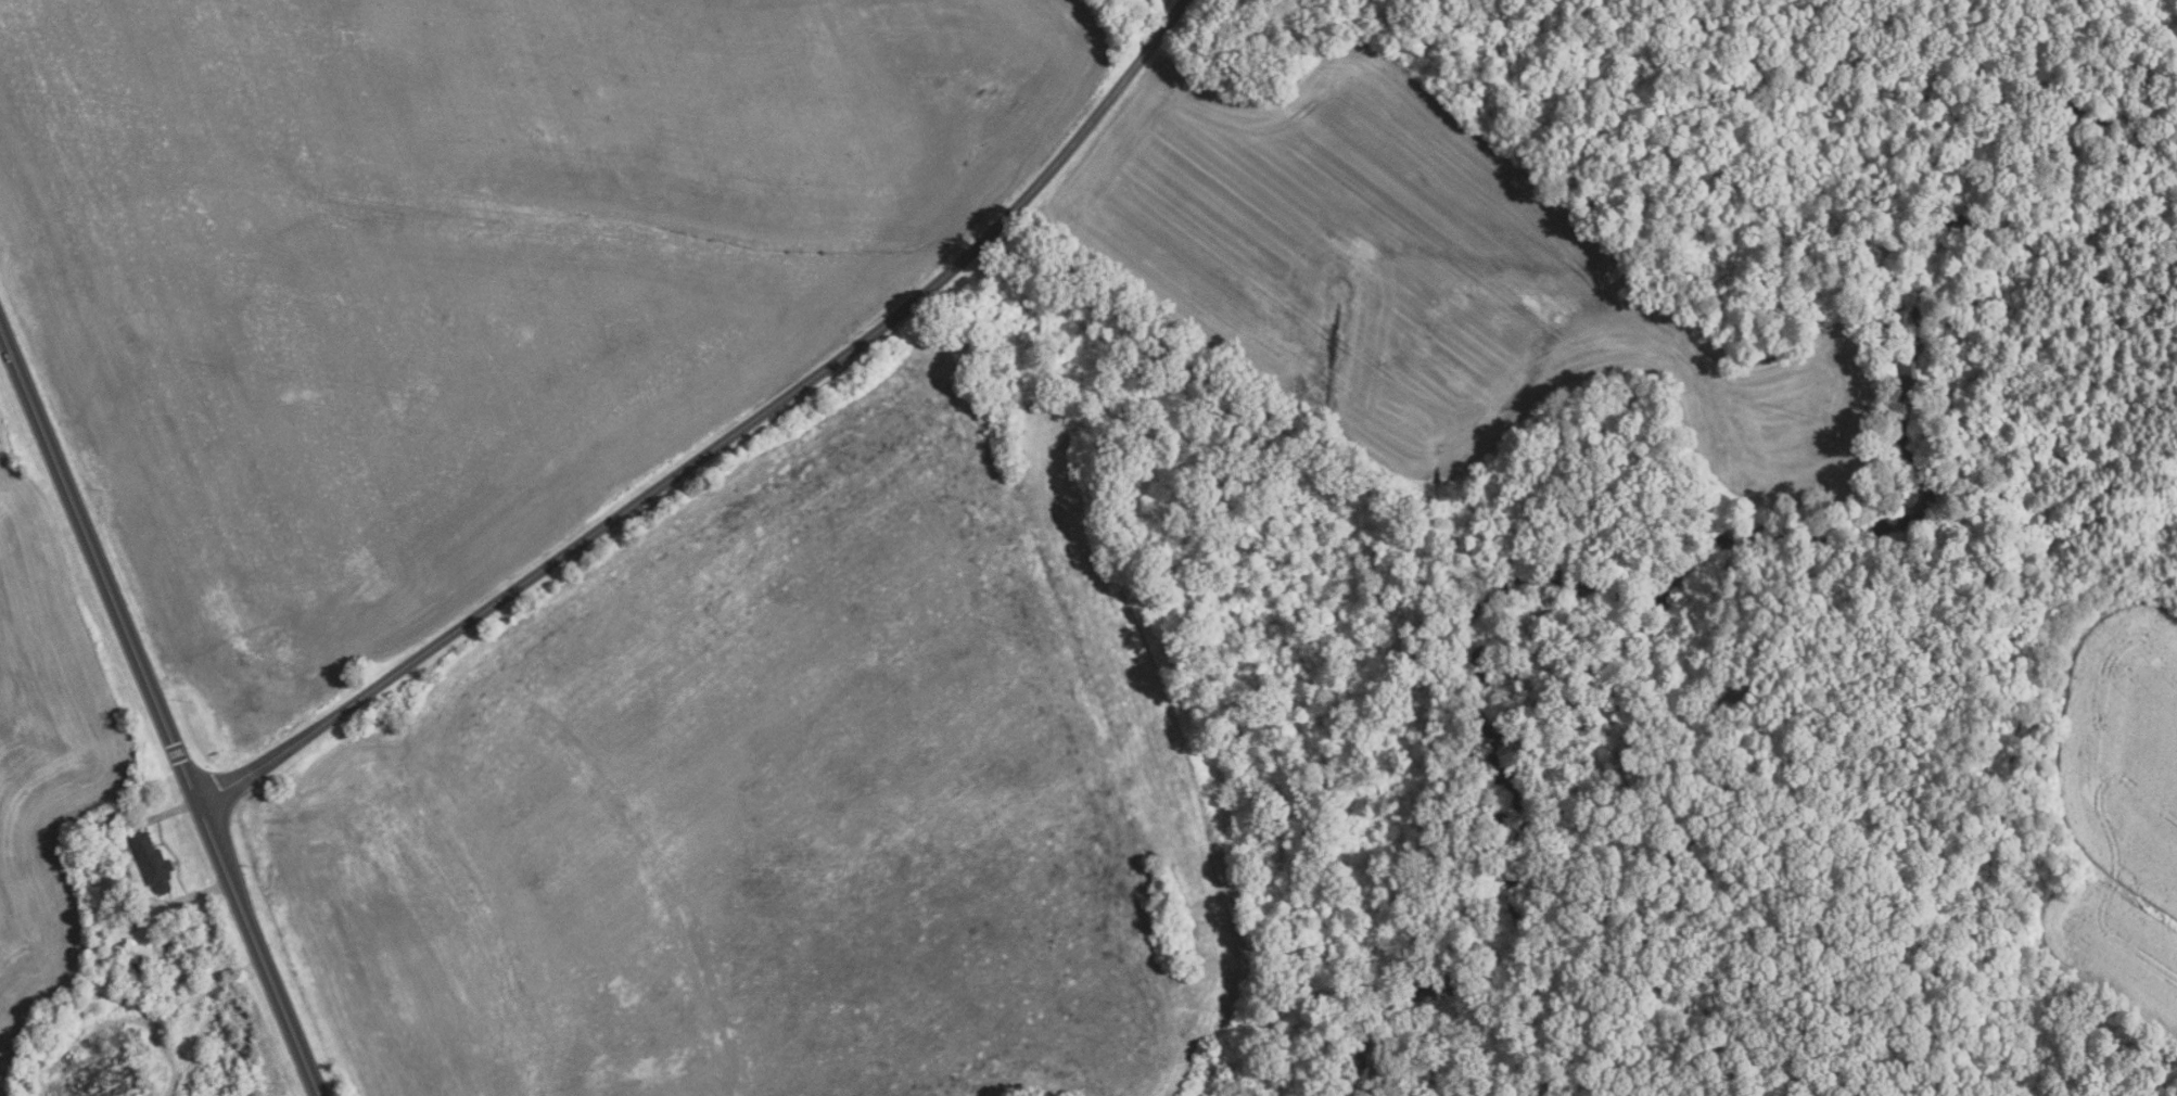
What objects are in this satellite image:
crop: (457, 277)
crop: (1443, 280)
road: (723, 439)
road: (158, 712)
crop: (2117, 811)
building: (154, 863)
road: (127, 876)
building: (111, 1078)

